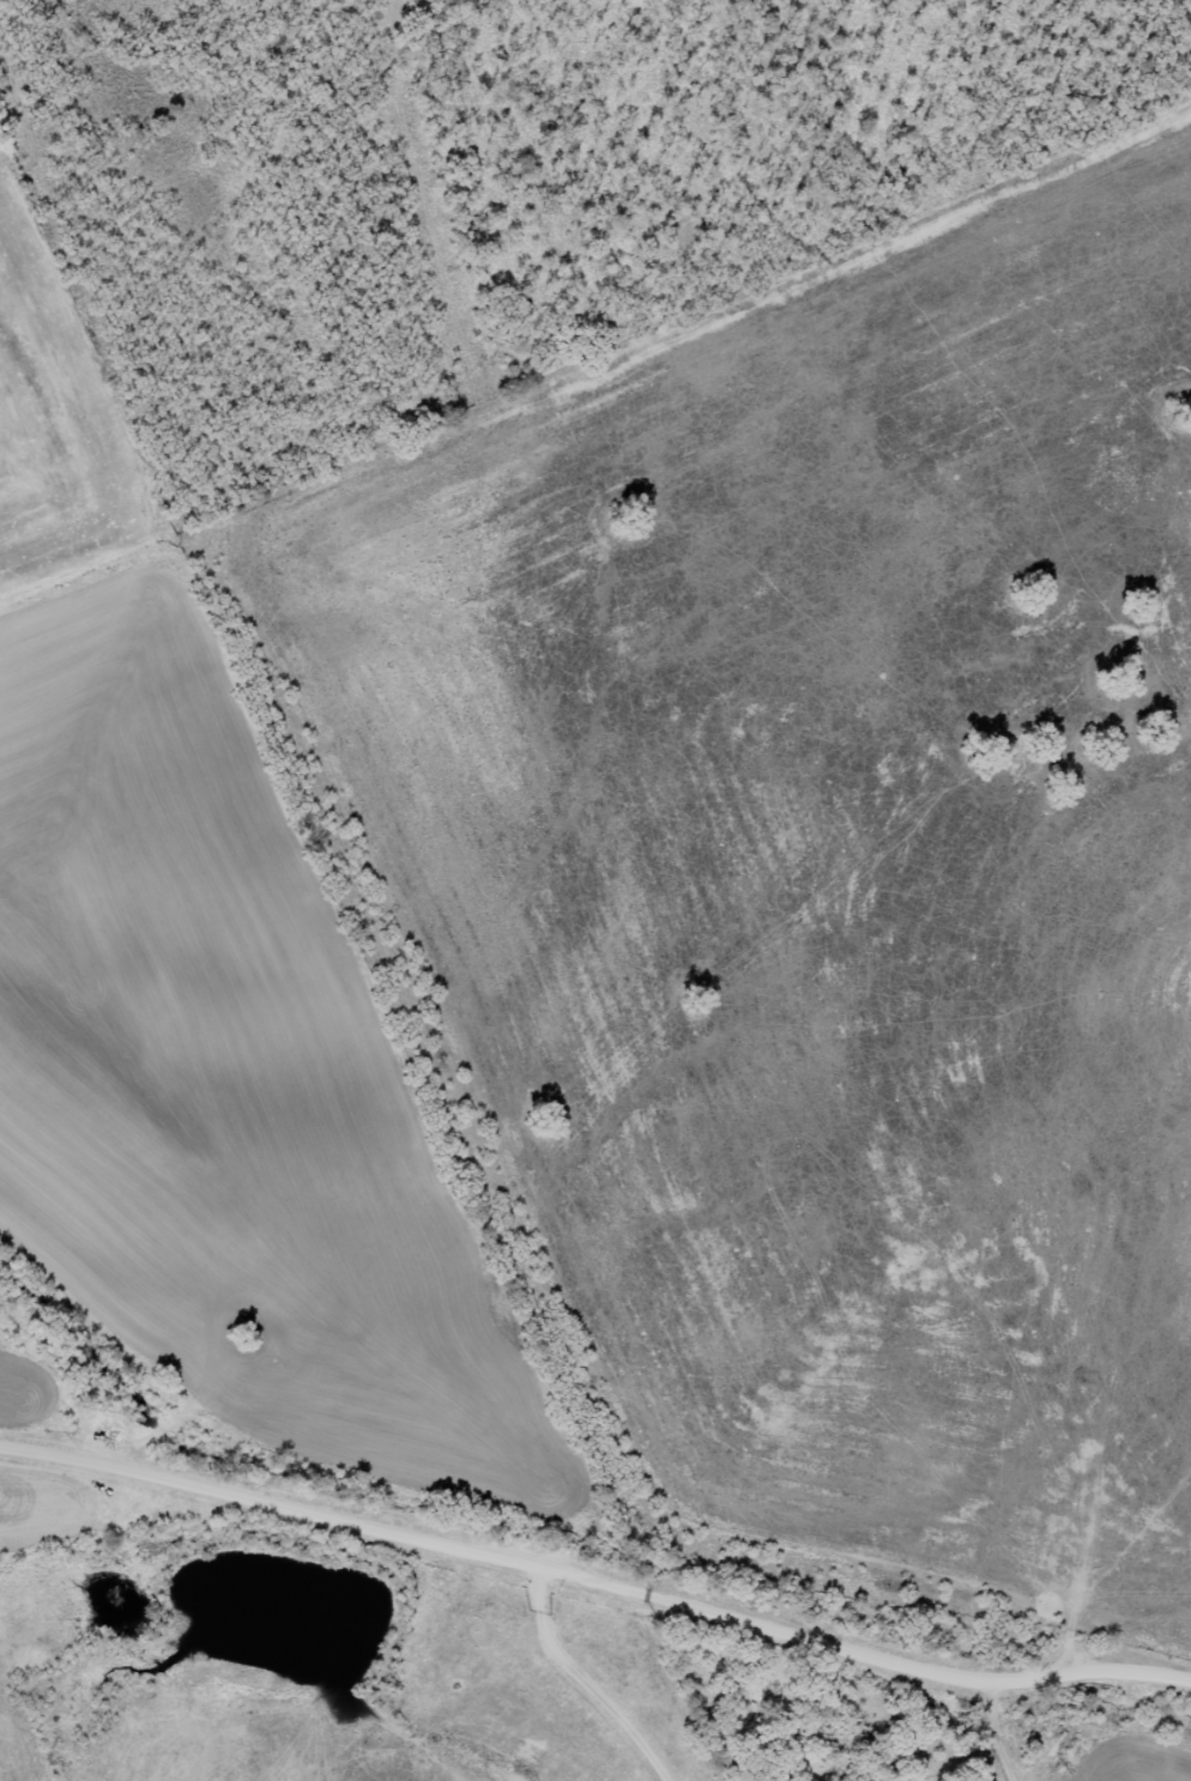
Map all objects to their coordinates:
road: (168, 1478)
road: (758, 1683)
road: (1039, 1773)

